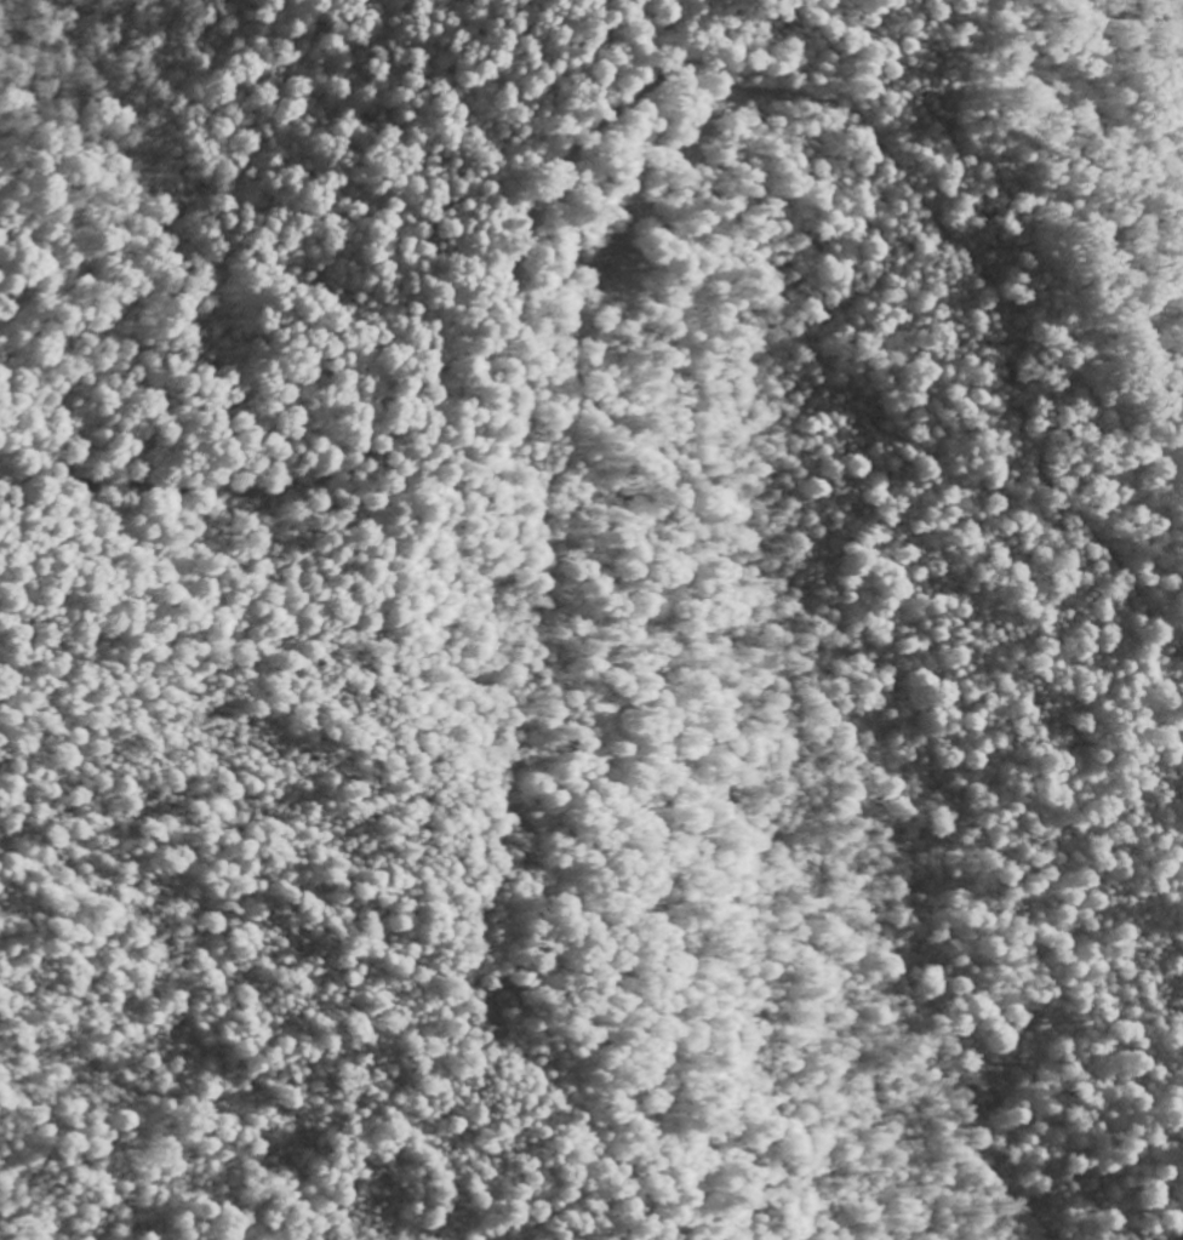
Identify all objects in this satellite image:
road: (450, 393)

